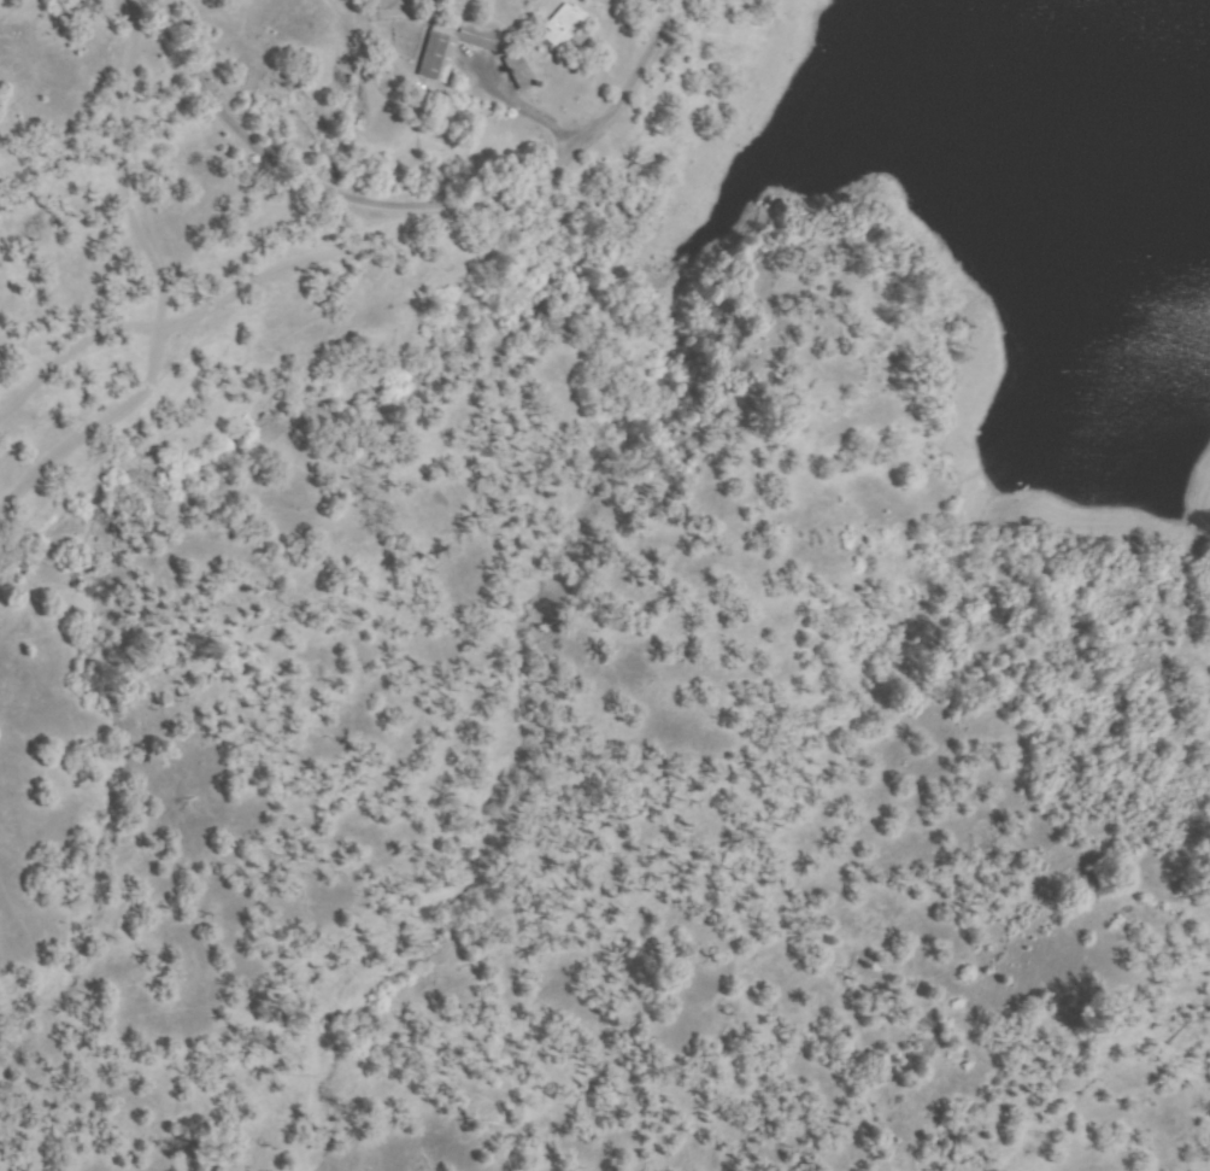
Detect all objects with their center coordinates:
building: (565, 24)
building: (483, 39)
building: (439, 55)
building: (521, 70)
road: (422, 200)

